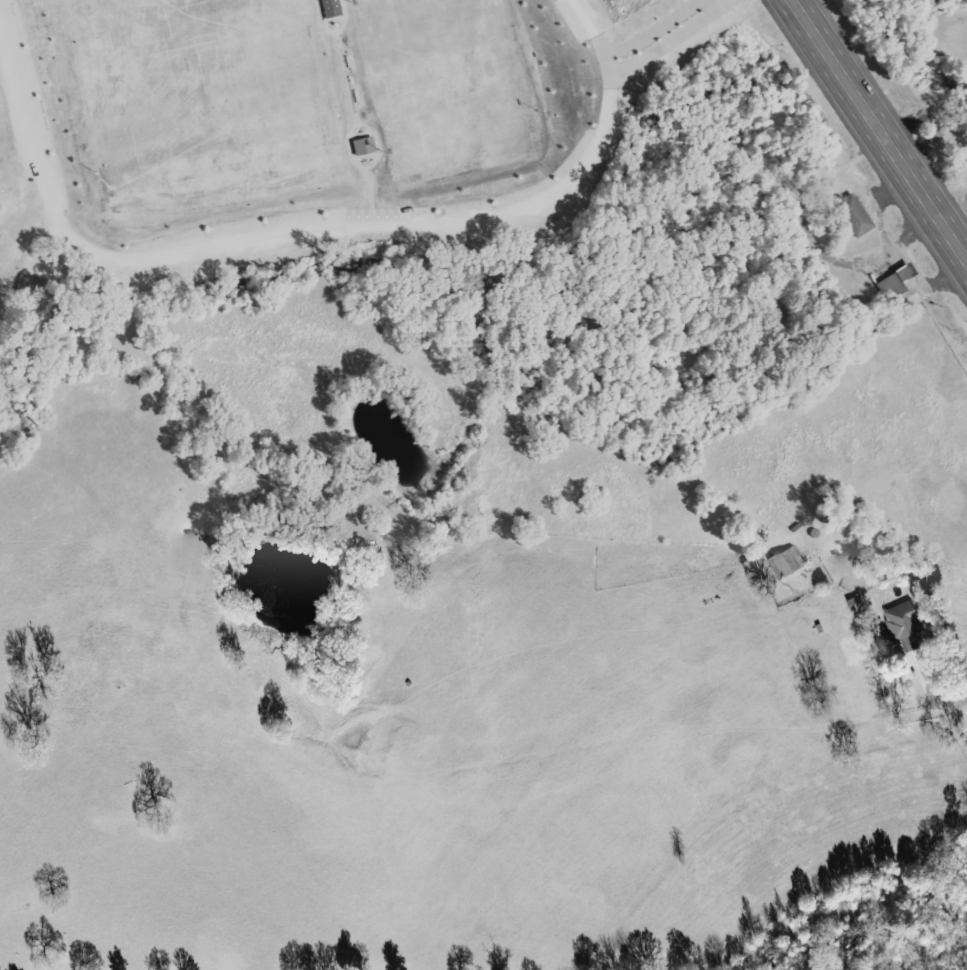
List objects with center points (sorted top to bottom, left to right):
building: (329, 8)
road: (663, 33)
road: (609, 74)
road: (873, 134)
building: (361, 146)
road: (798, 214)
building: (851, 216)
road: (224, 244)
building: (892, 282)
building: (35, 289)
building: (788, 563)
building: (908, 628)
road: (953, 703)

